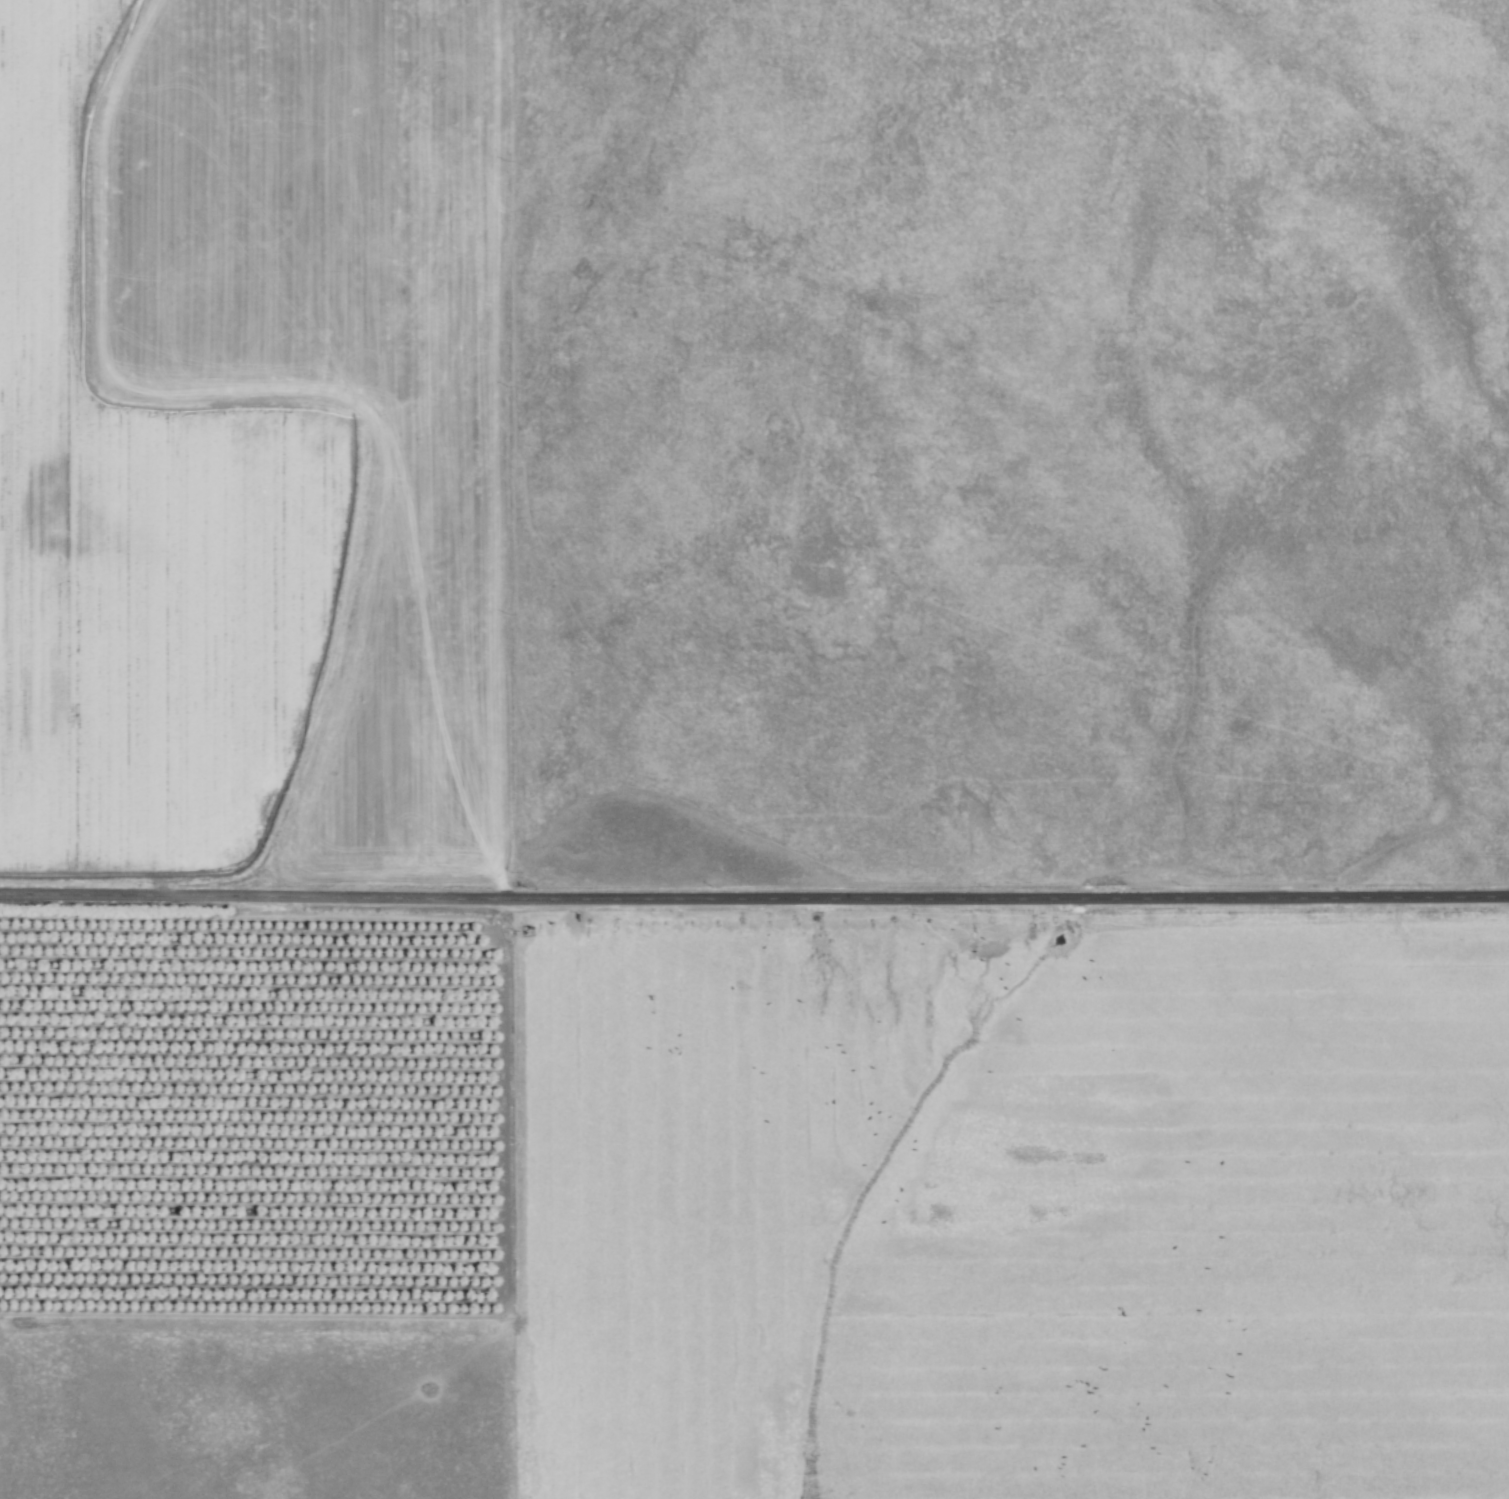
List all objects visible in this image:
road: (754, 898)

